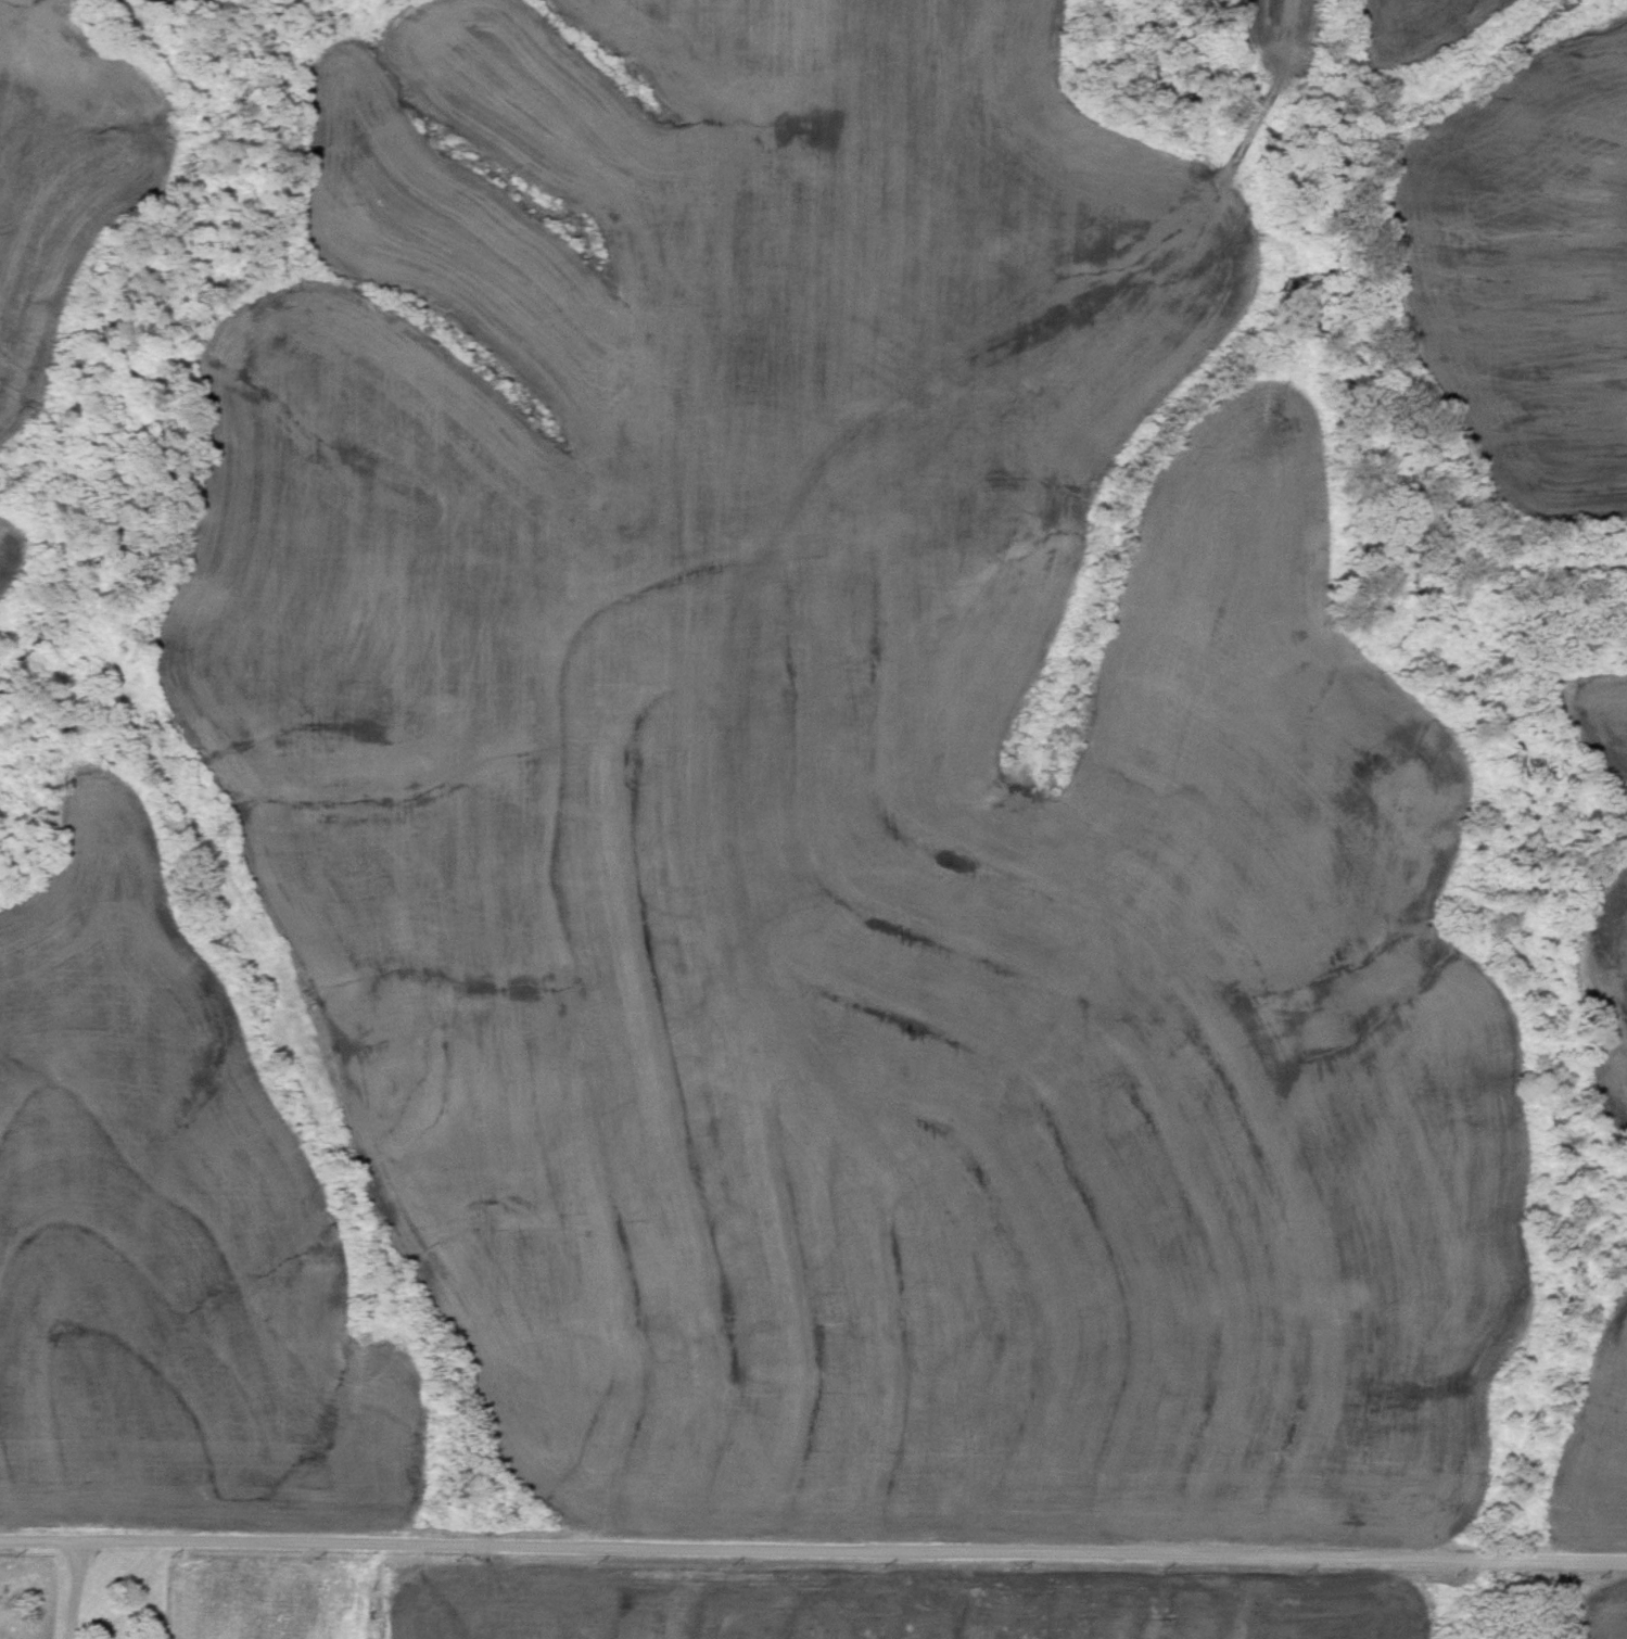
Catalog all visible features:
road: (813, 1553)
road: (73, 1591)

